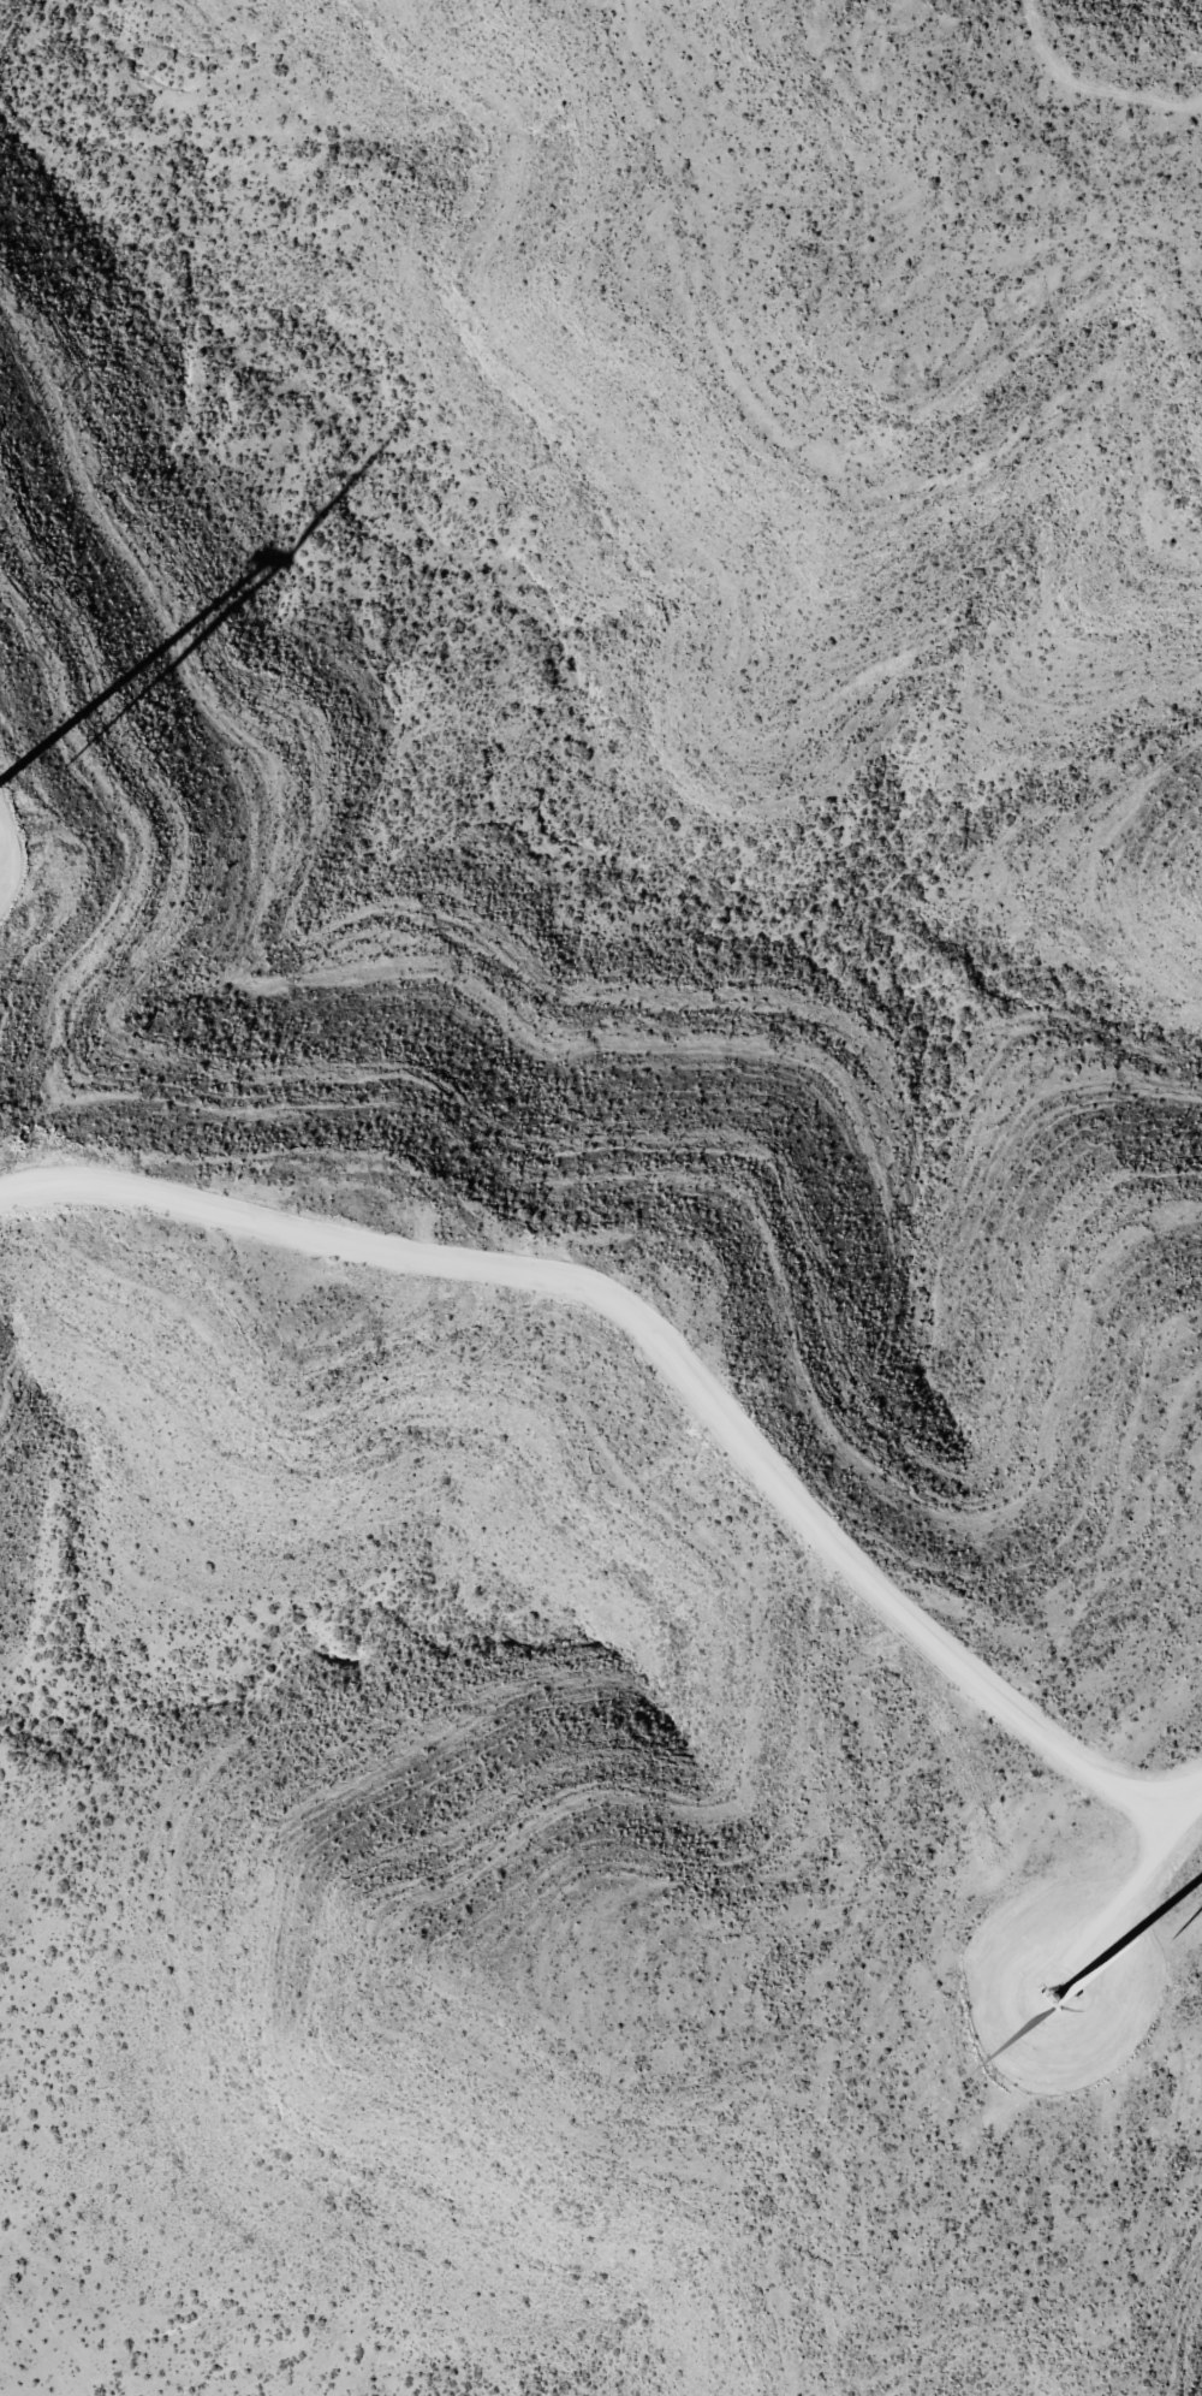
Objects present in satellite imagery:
wind turbine: (1055, 1998)

